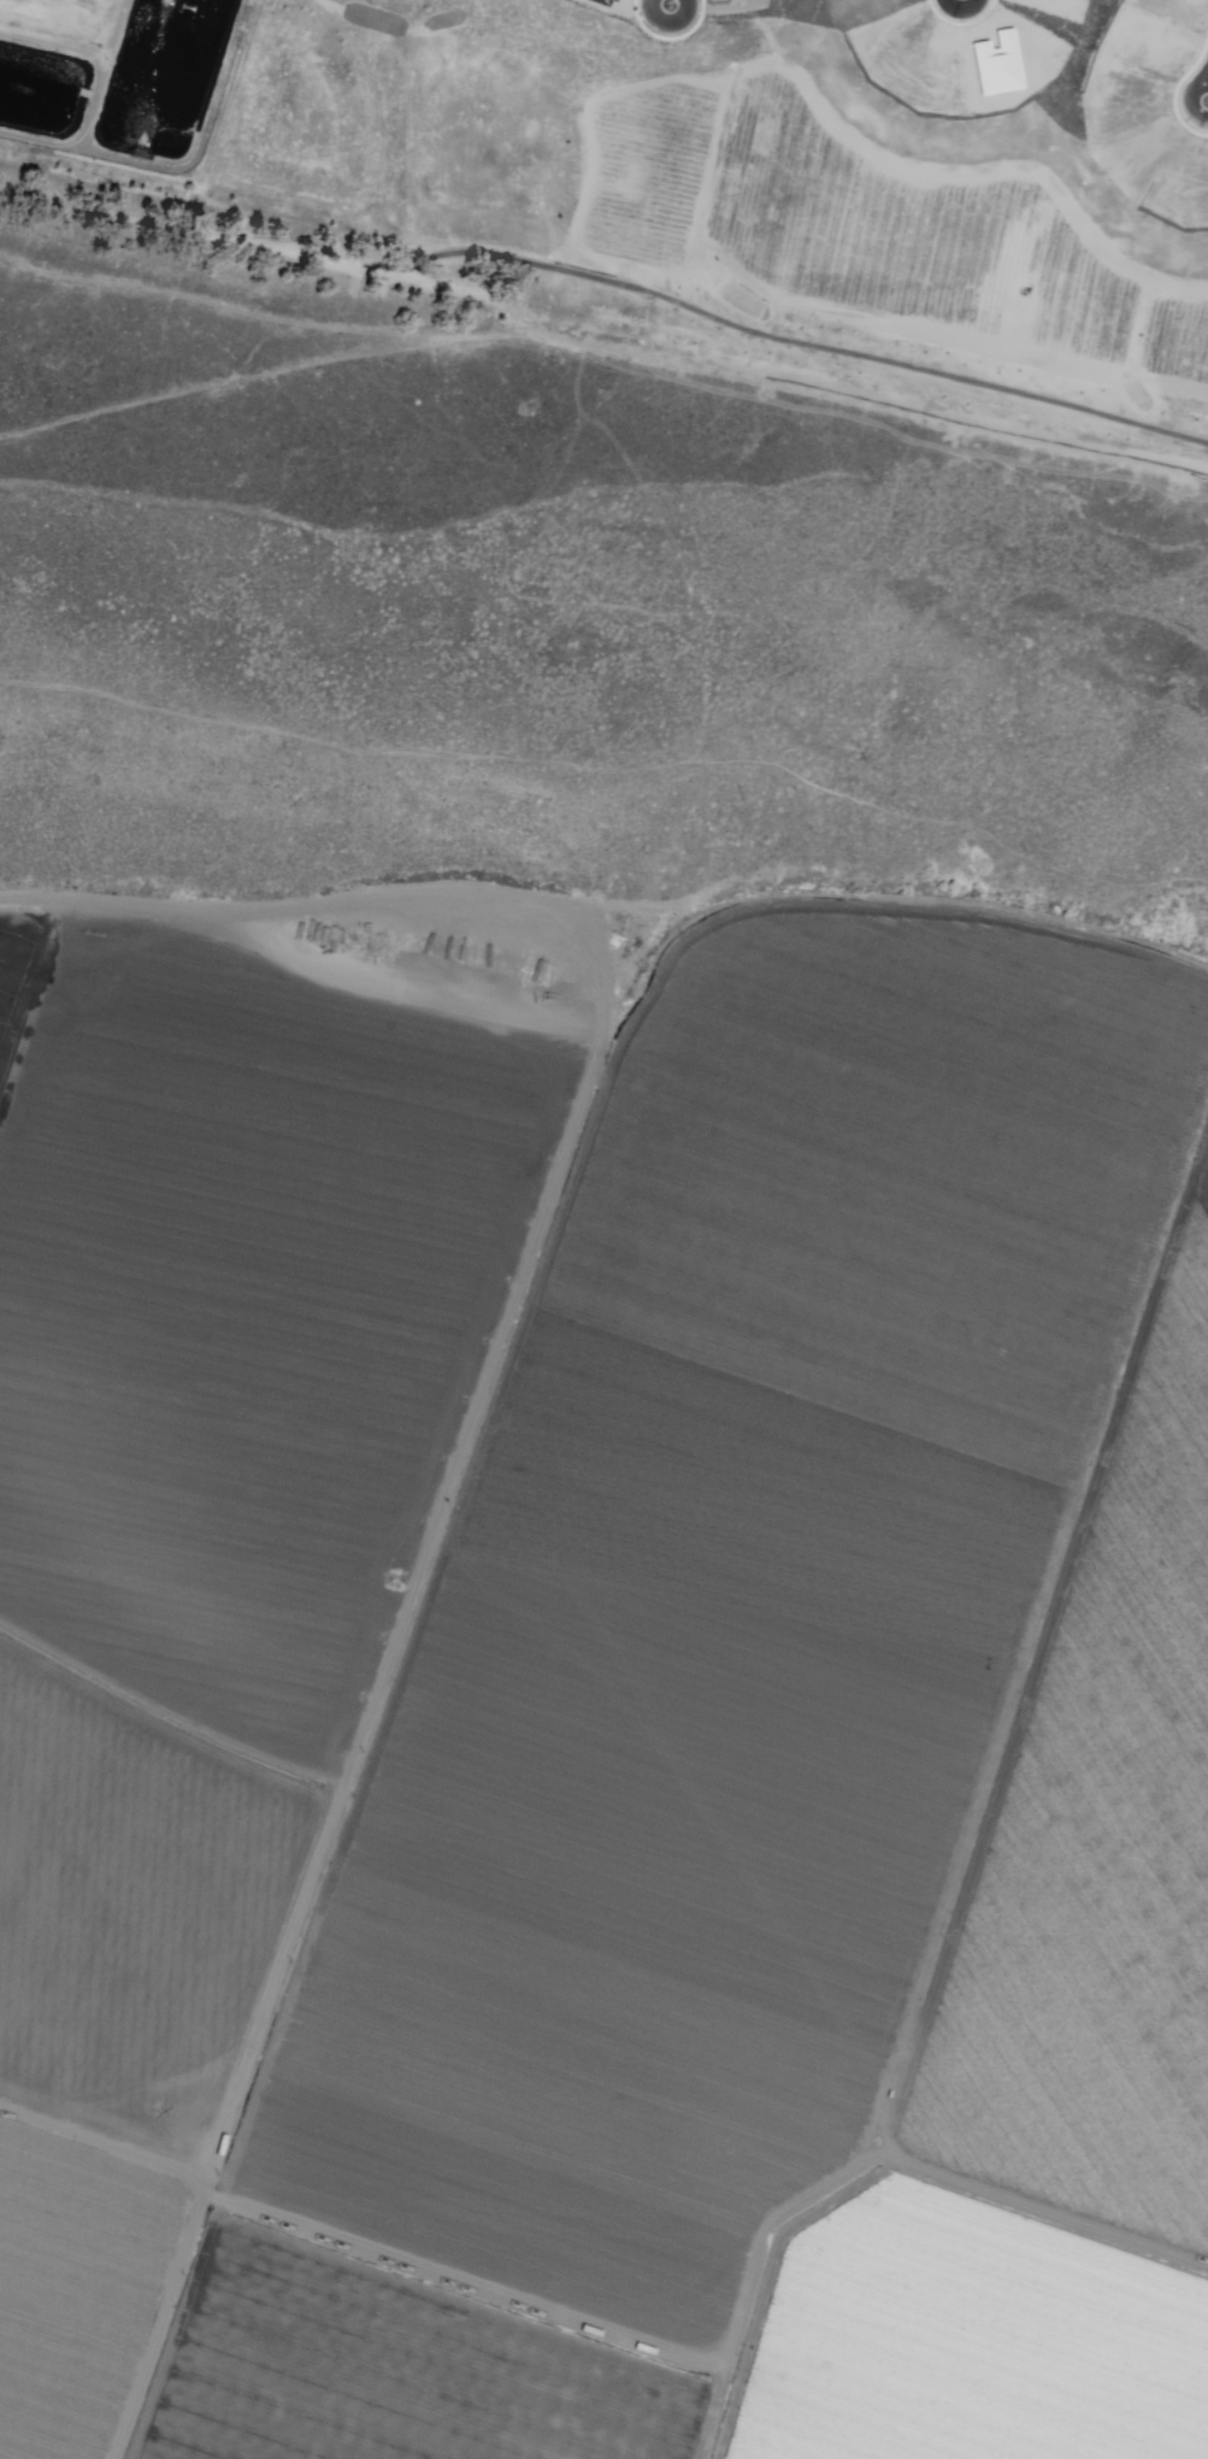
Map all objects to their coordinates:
building: (813, 166)
building: (768, 199)
crop: (20, 972)
crop: (248, 1316)
crop: (731, 1612)
crop: (1101, 1849)
crop: (130, 1911)
crop: (76, 2288)
crop: (964, 2337)
crop: (388, 2369)

